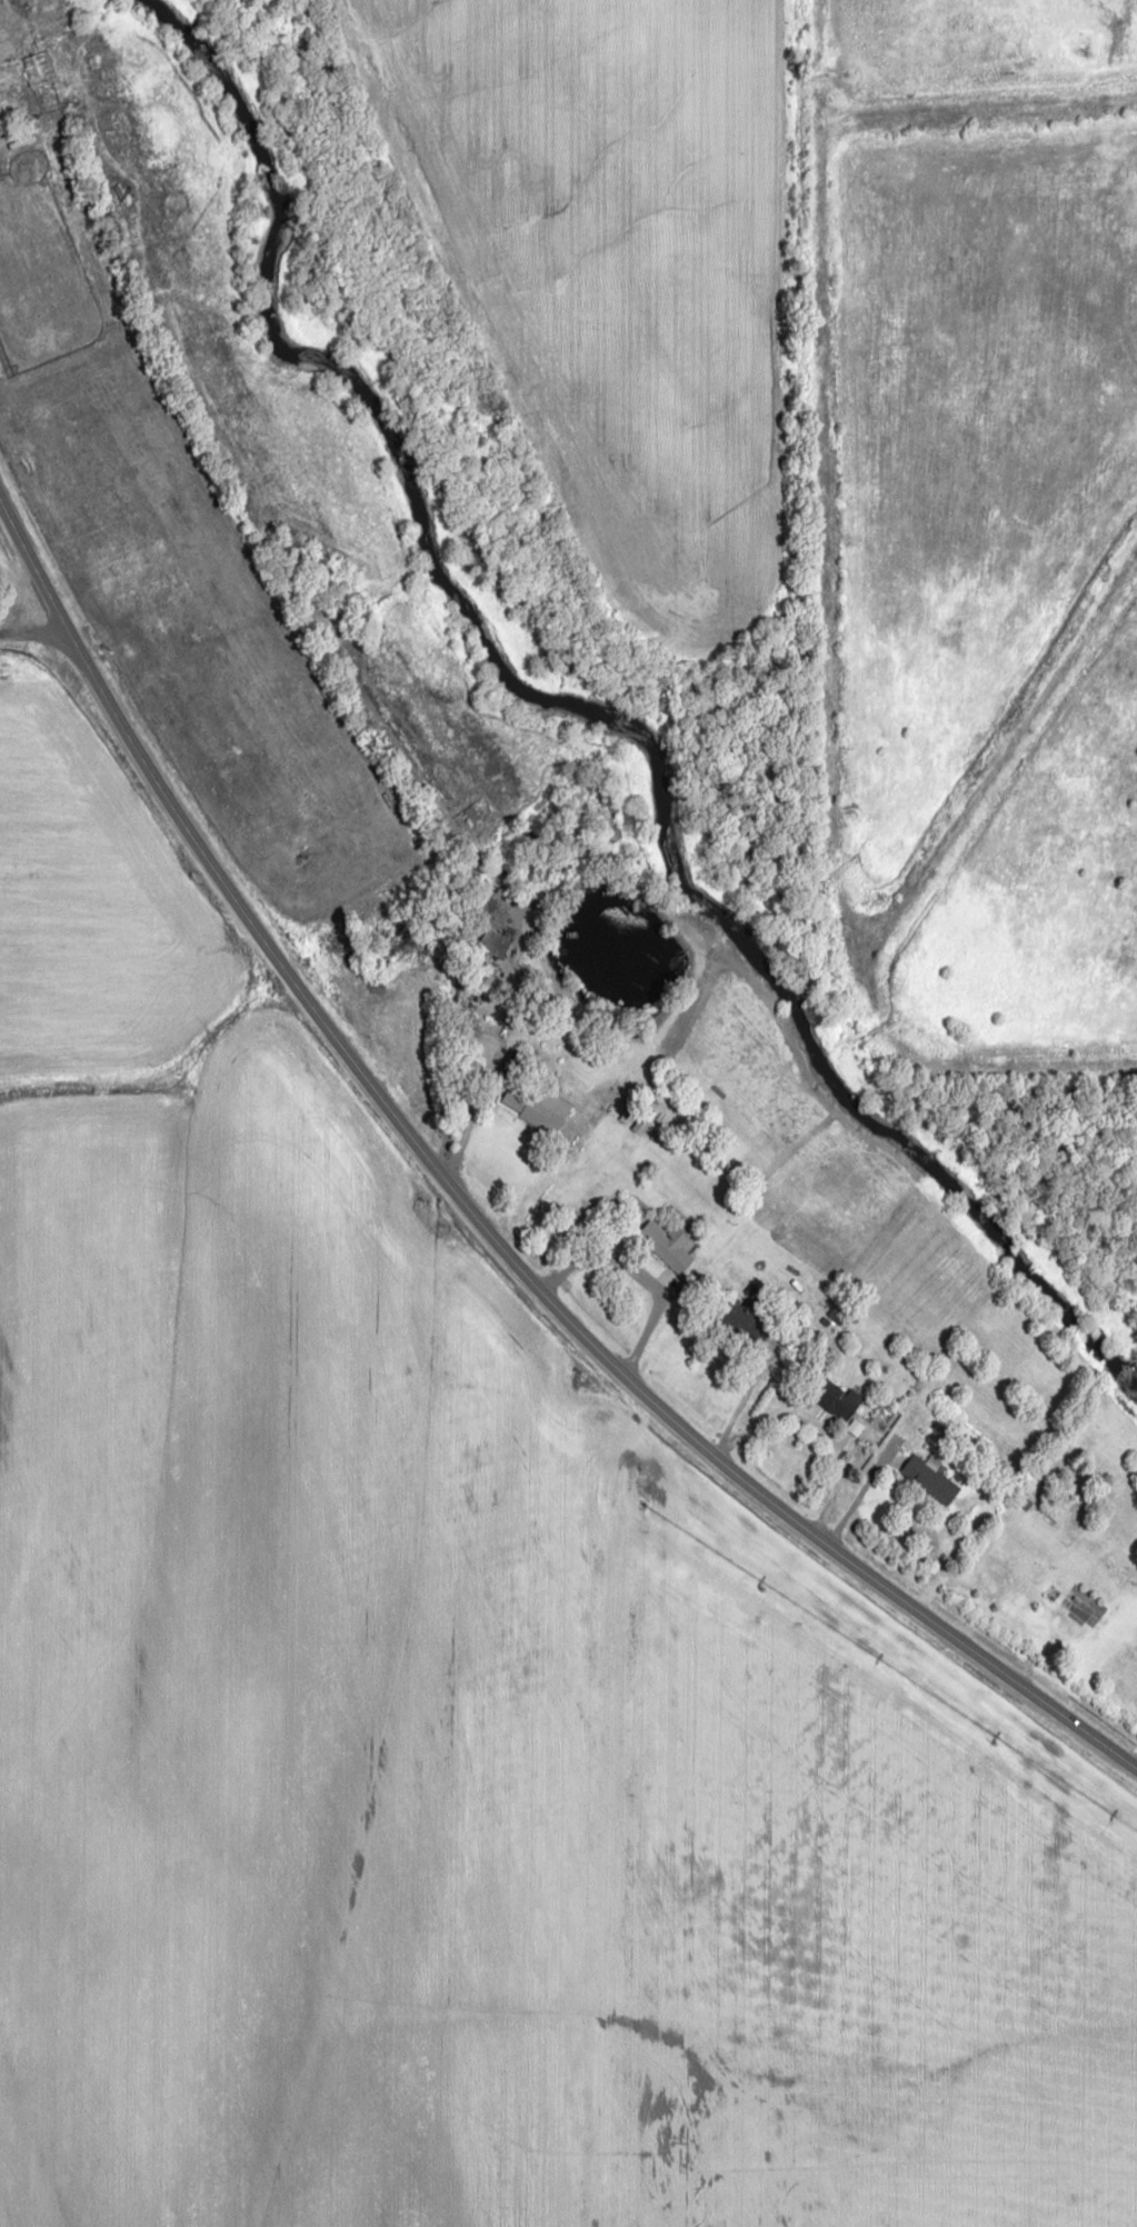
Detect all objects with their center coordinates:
road: (14, 69)
building: (34, 69)
road: (916, 122)
road: (36, 636)
road: (827, 783)
building: (495, 945)
road: (473, 1099)
building: (541, 1112)
road: (477, 1215)
building: (666, 1246)
building: (738, 1321)
building: (835, 1400)
building: (928, 1480)
building: (1081, 1605)

